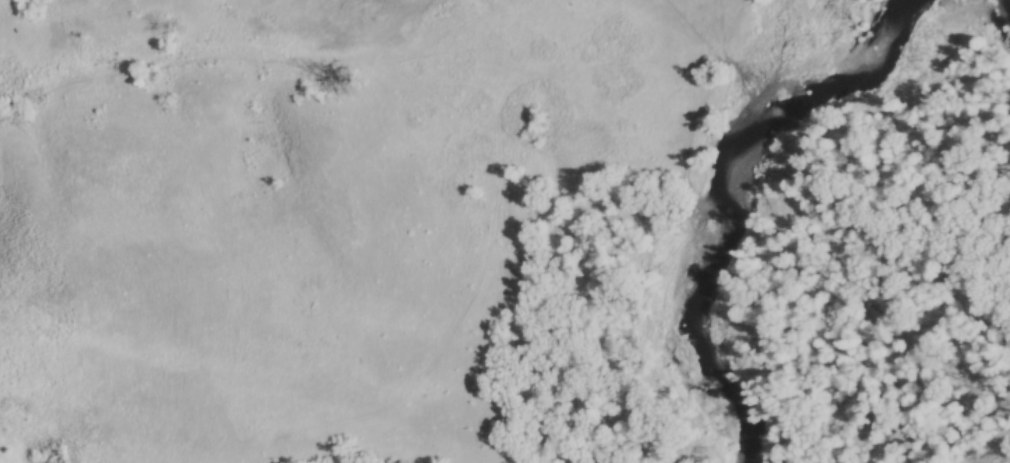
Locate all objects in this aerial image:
river: (720, 180)

